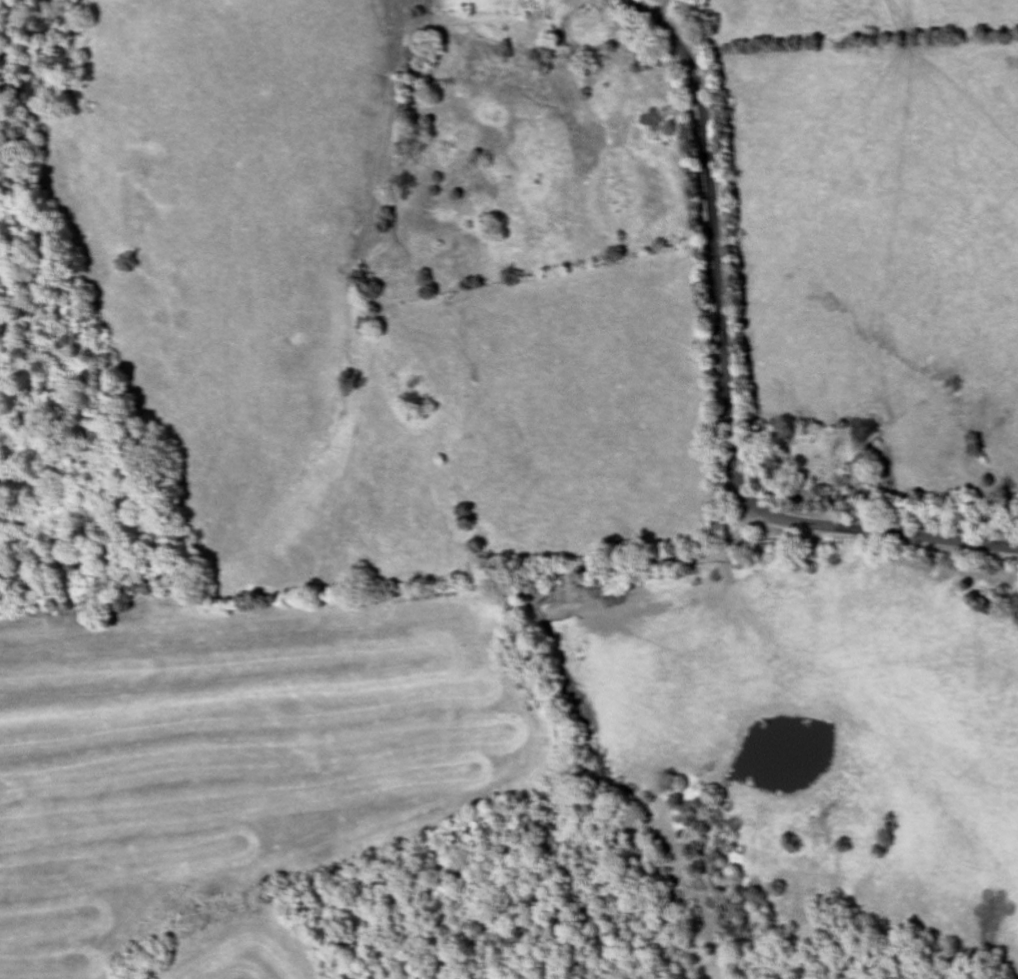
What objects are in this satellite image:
building: (528, 9)
road: (723, 377)
road: (545, 757)

